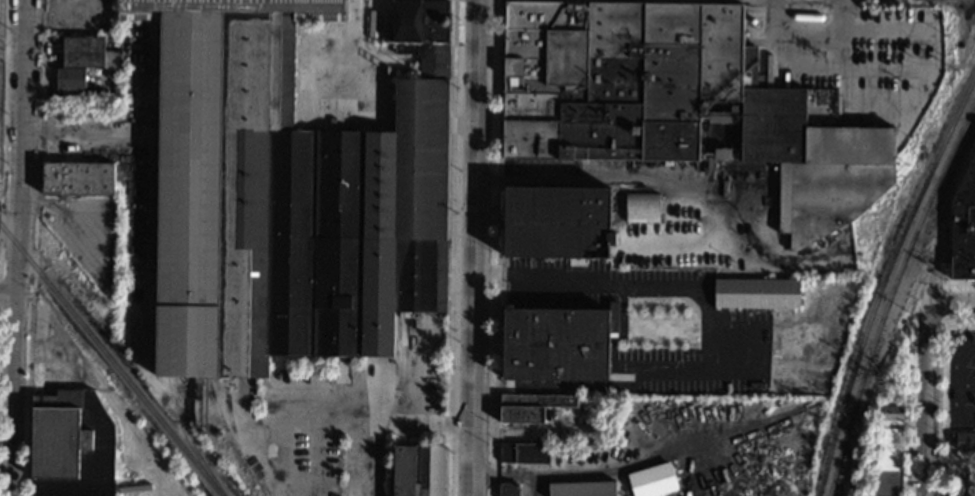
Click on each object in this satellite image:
building: (419, 21)
building: (88, 53)
building: (70, 79)
building: (676, 103)
road: (4, 120)
road: (97, 131)
road: (33, 132)
road: (606, 179)
building: (78, 180)
building: (286, 197)
road: (31, 201)
building: (458, 203)
road: (474, 207)
building: (642, 207)
building: (558, 222)
building: (963, 225)
road: (75, 228)
road: (450, 247)
road: (475, 247)
road: (497, 247)
road: (18, 248)
road: (35, 248)
road: (10, 250)
road: (490, 269)
railway: (884, 280)
road: (960, 281)
road: (651, 285)
building: (756, 293)
railway: (890, 293)
road: (7, 296)
road: (945, 300)
road: (952, 303)
building: (558, 343)
railway: (110, 361)
road: (954, 366)
parking lot: (961, 379)
road: (944, 393)
road: (925, 400)
building: (530, 406)
road: (953, 414)
road: (378, 422)
building: (963, 441)
railway: (188, 442)
road: (905, 442)
building: (71, 445)
building: (579, 447)
building: (524, 452)
building: (887, 453)
road: (369, 459)
building: (962, 462)
building: (417, 470)
railway: (784, 479)
building: (651, 480)
building: (583, 488)
building: (509, 489)
building: (737, 490)

